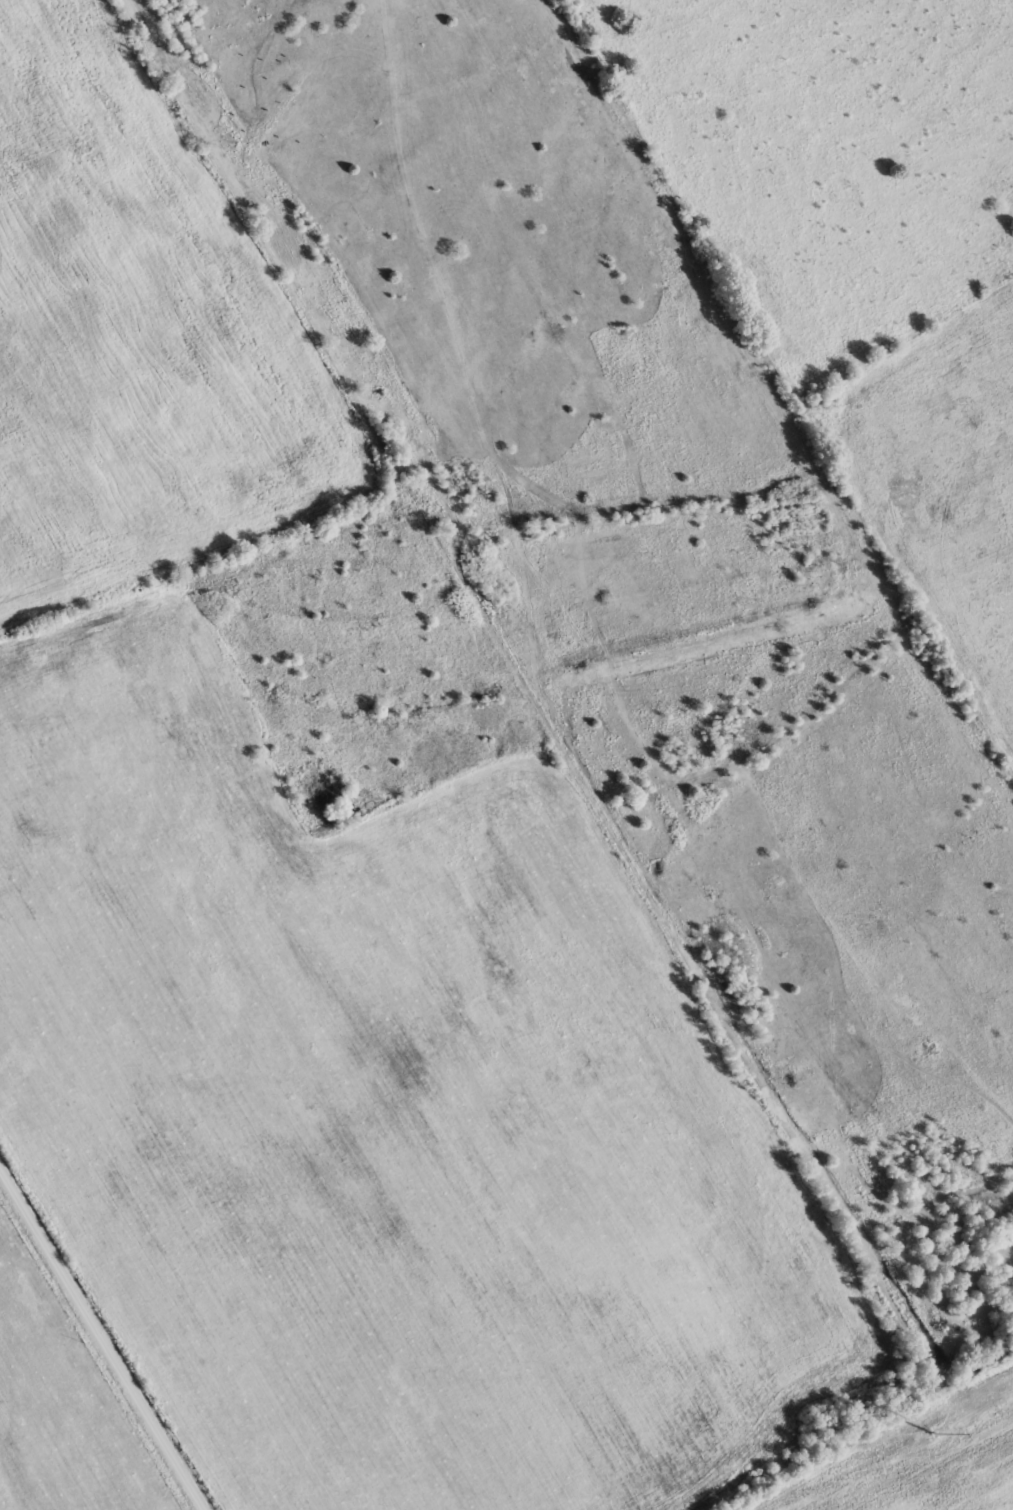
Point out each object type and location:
road: (104, 1334)
power tower: (934, 1433)

